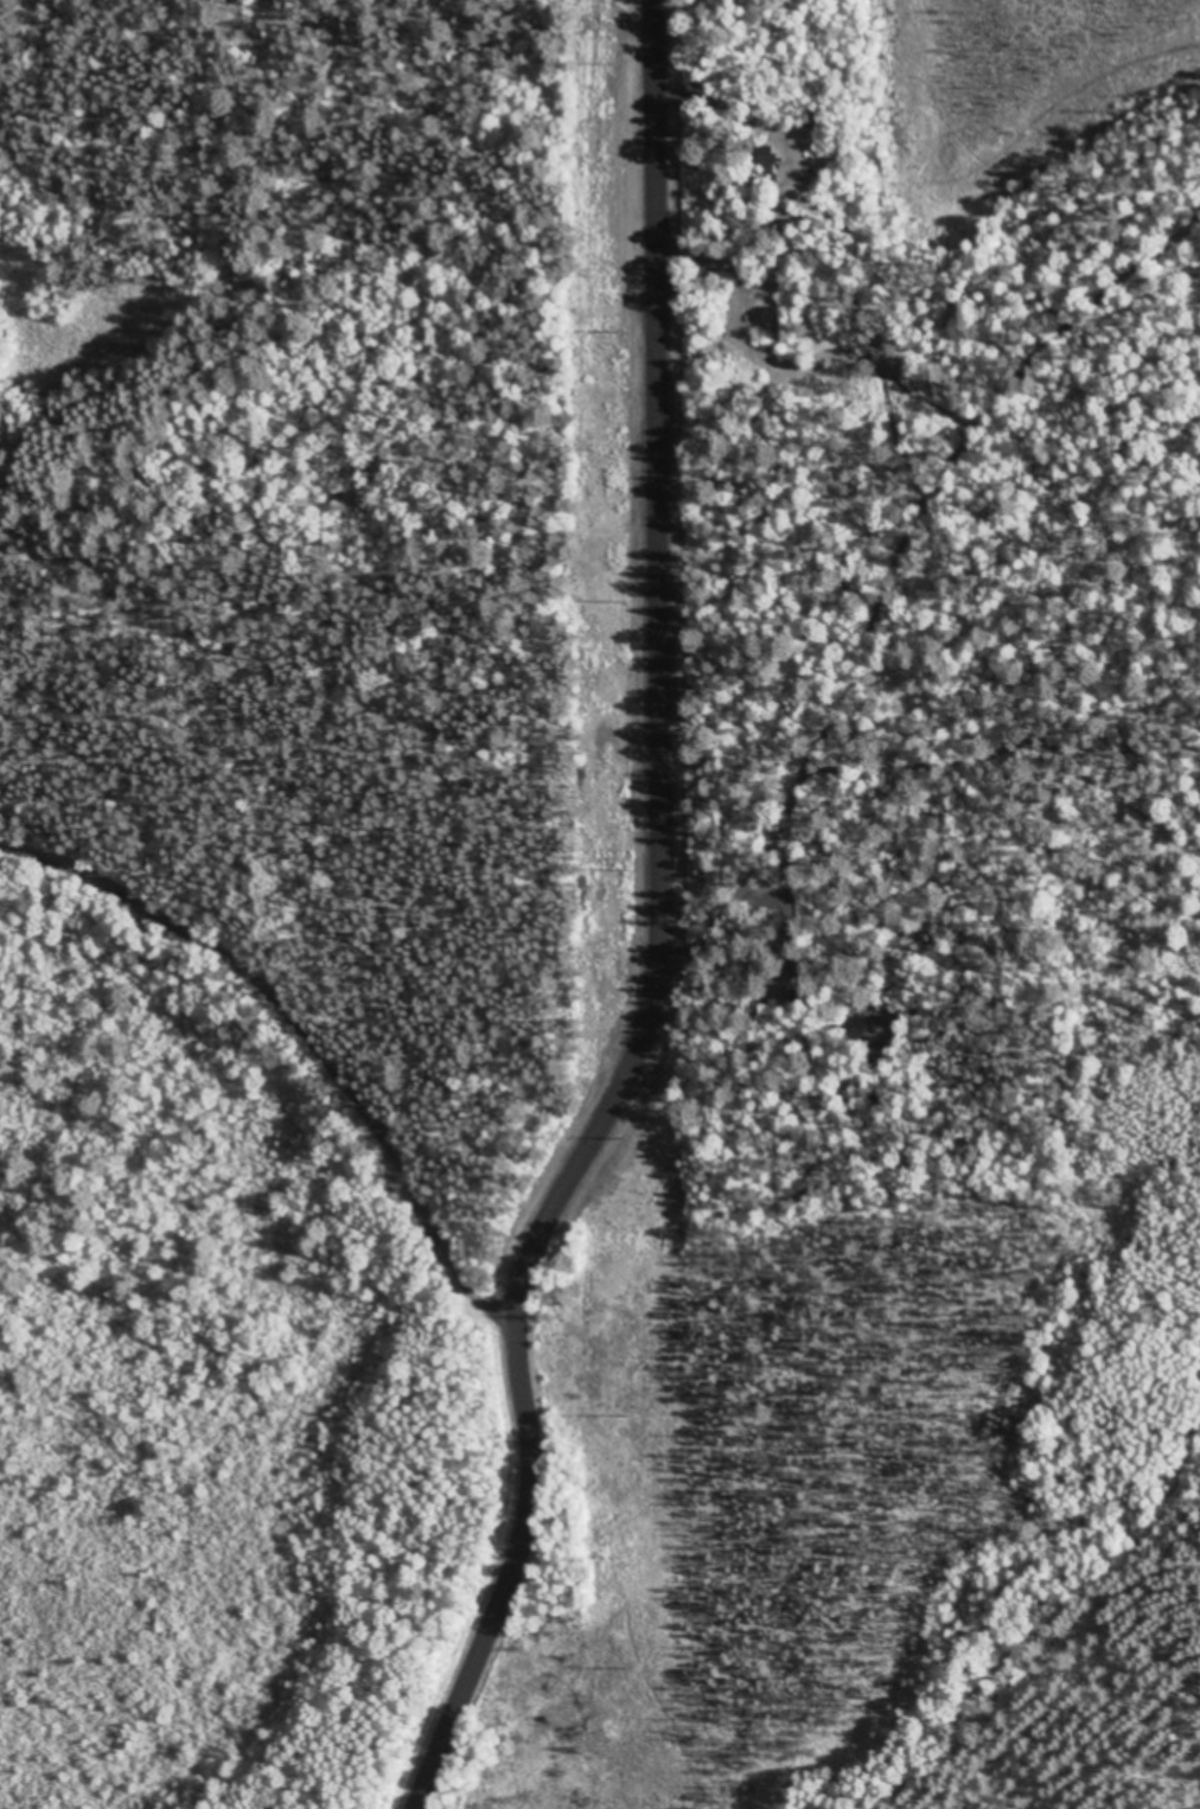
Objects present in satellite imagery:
road: (625, 481)
road: (891, 535)
building: (793, 921)
road: (238, 1024)
road: (547, 1363)

